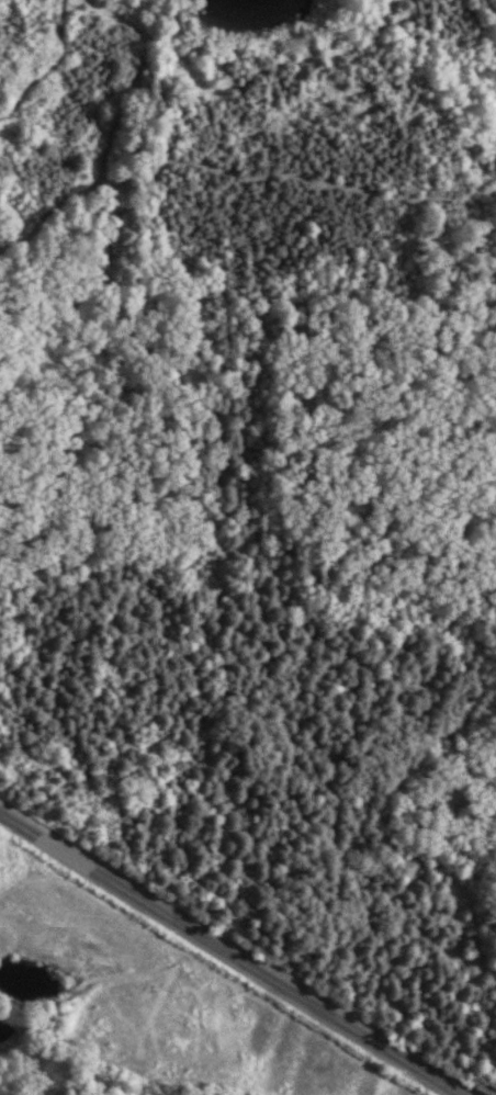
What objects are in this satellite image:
road: (233, 950)

